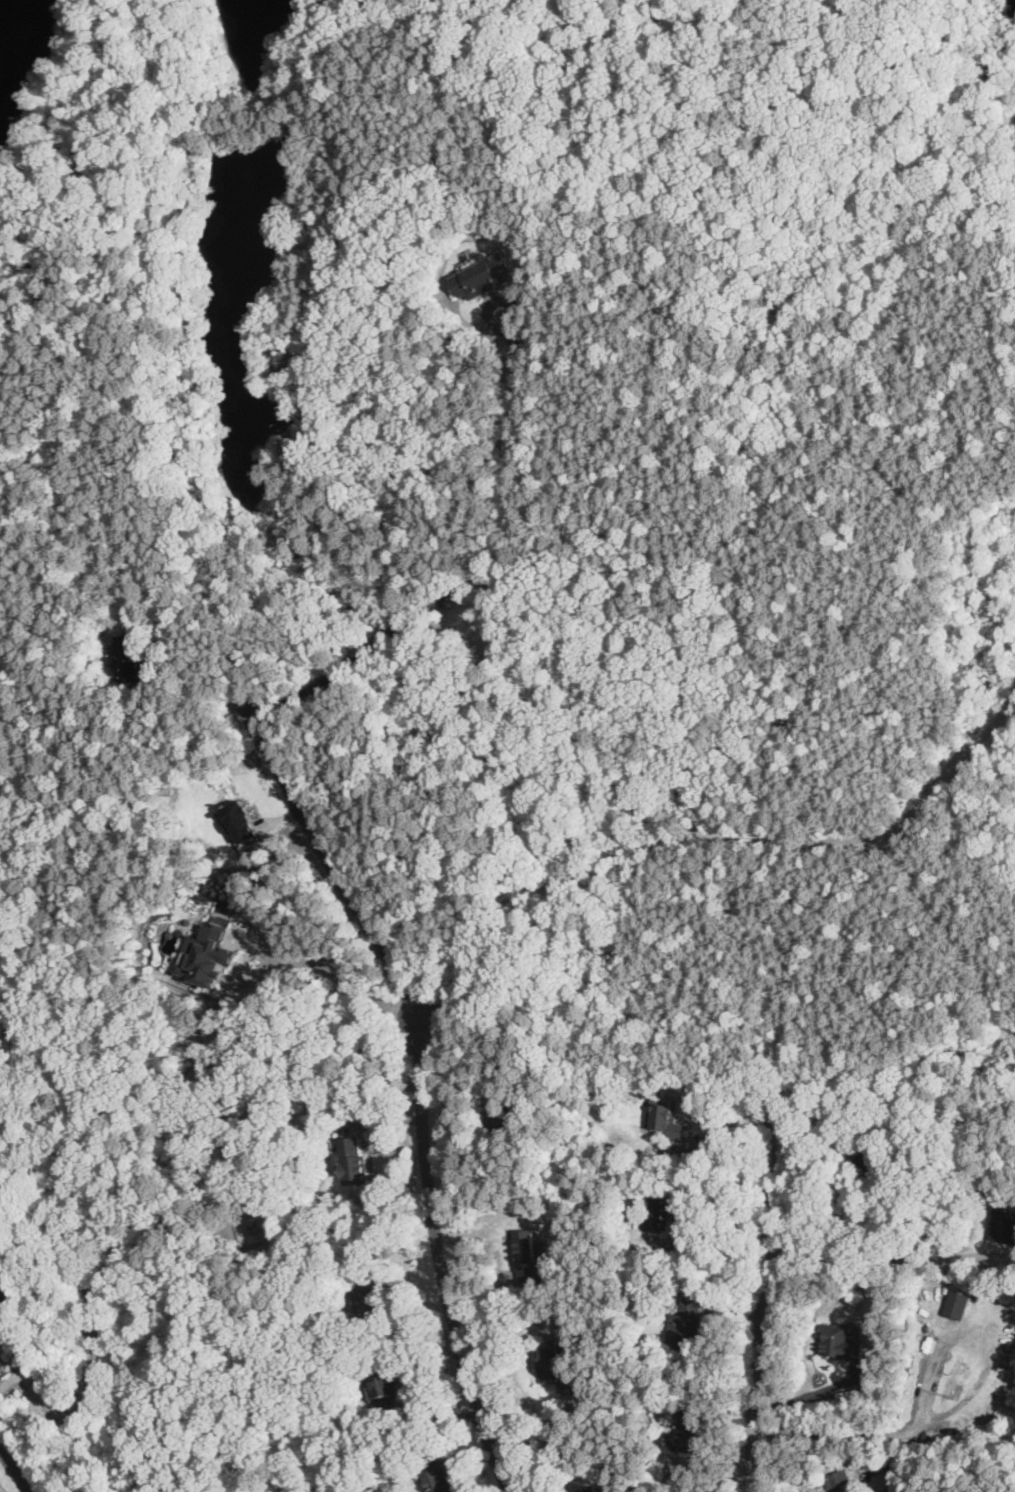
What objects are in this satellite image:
building: (481, 277)
road: (509, 542)
building: (127, 659)
building: (239, 820)
building: (207, 955)
road: (420, 1081)
building: (668, 1119)
road: (719, 1147)
building: (351, 1161)
building: (866, 1165)
road: (203, 1173)
building: (658, 1216)
building: (1002, 1226)
building: (527, 1260)
road: (763, 1294)
building: (372, 1302)
building: (958, 1305)
building: (684, 1326)
building: (840, 1342)
building: (553, 1361)
building: (954, 1376)
building: (384, 1384)
road: (951, 1409)
building: (684, 1433)
road: (15, 1469)
building: (438, 1477)
building: (837, 1479)
building: (589, 1489)
building: (895, 1490)

